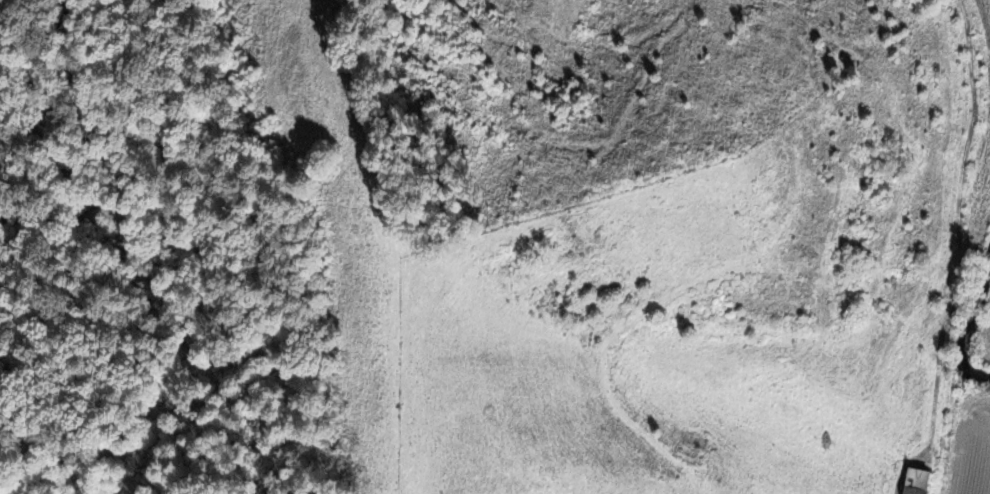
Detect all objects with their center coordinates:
road: (957, 252)
building: (923, 481)

